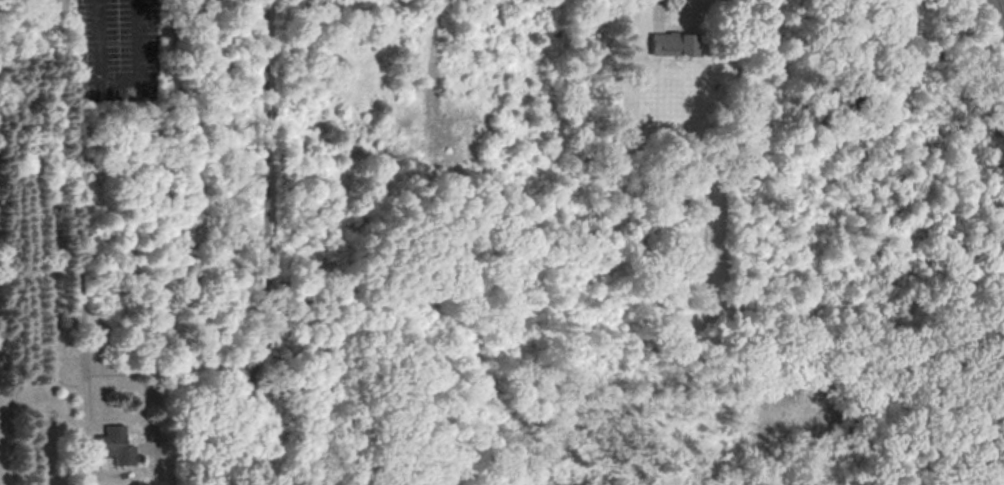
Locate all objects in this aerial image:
railway: (1003, 2)
road: (657, 11)
building: (670, 47)
road: (75, 85)
road: (267, 244)
building: (112, 446)

